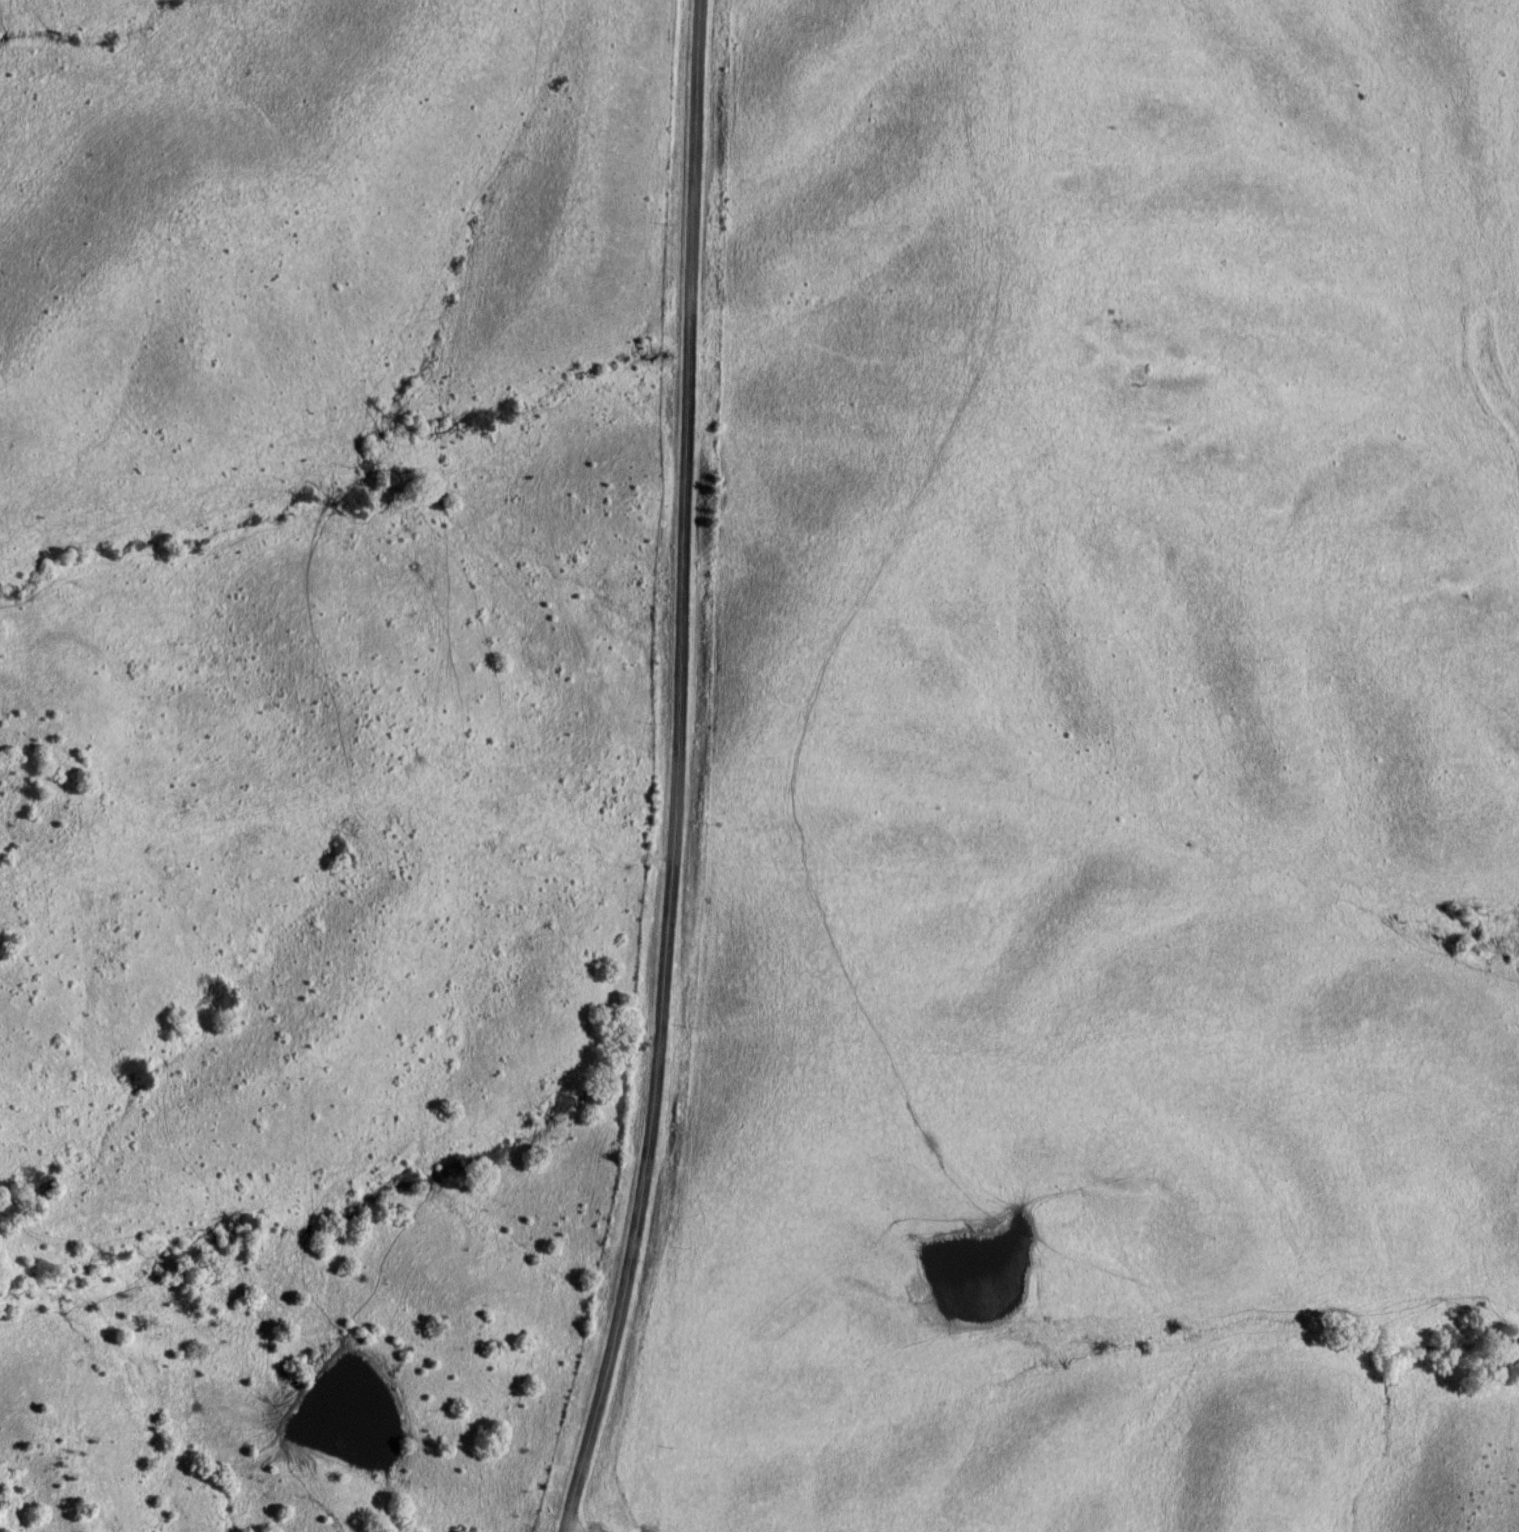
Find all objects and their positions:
road: (675, 770)

